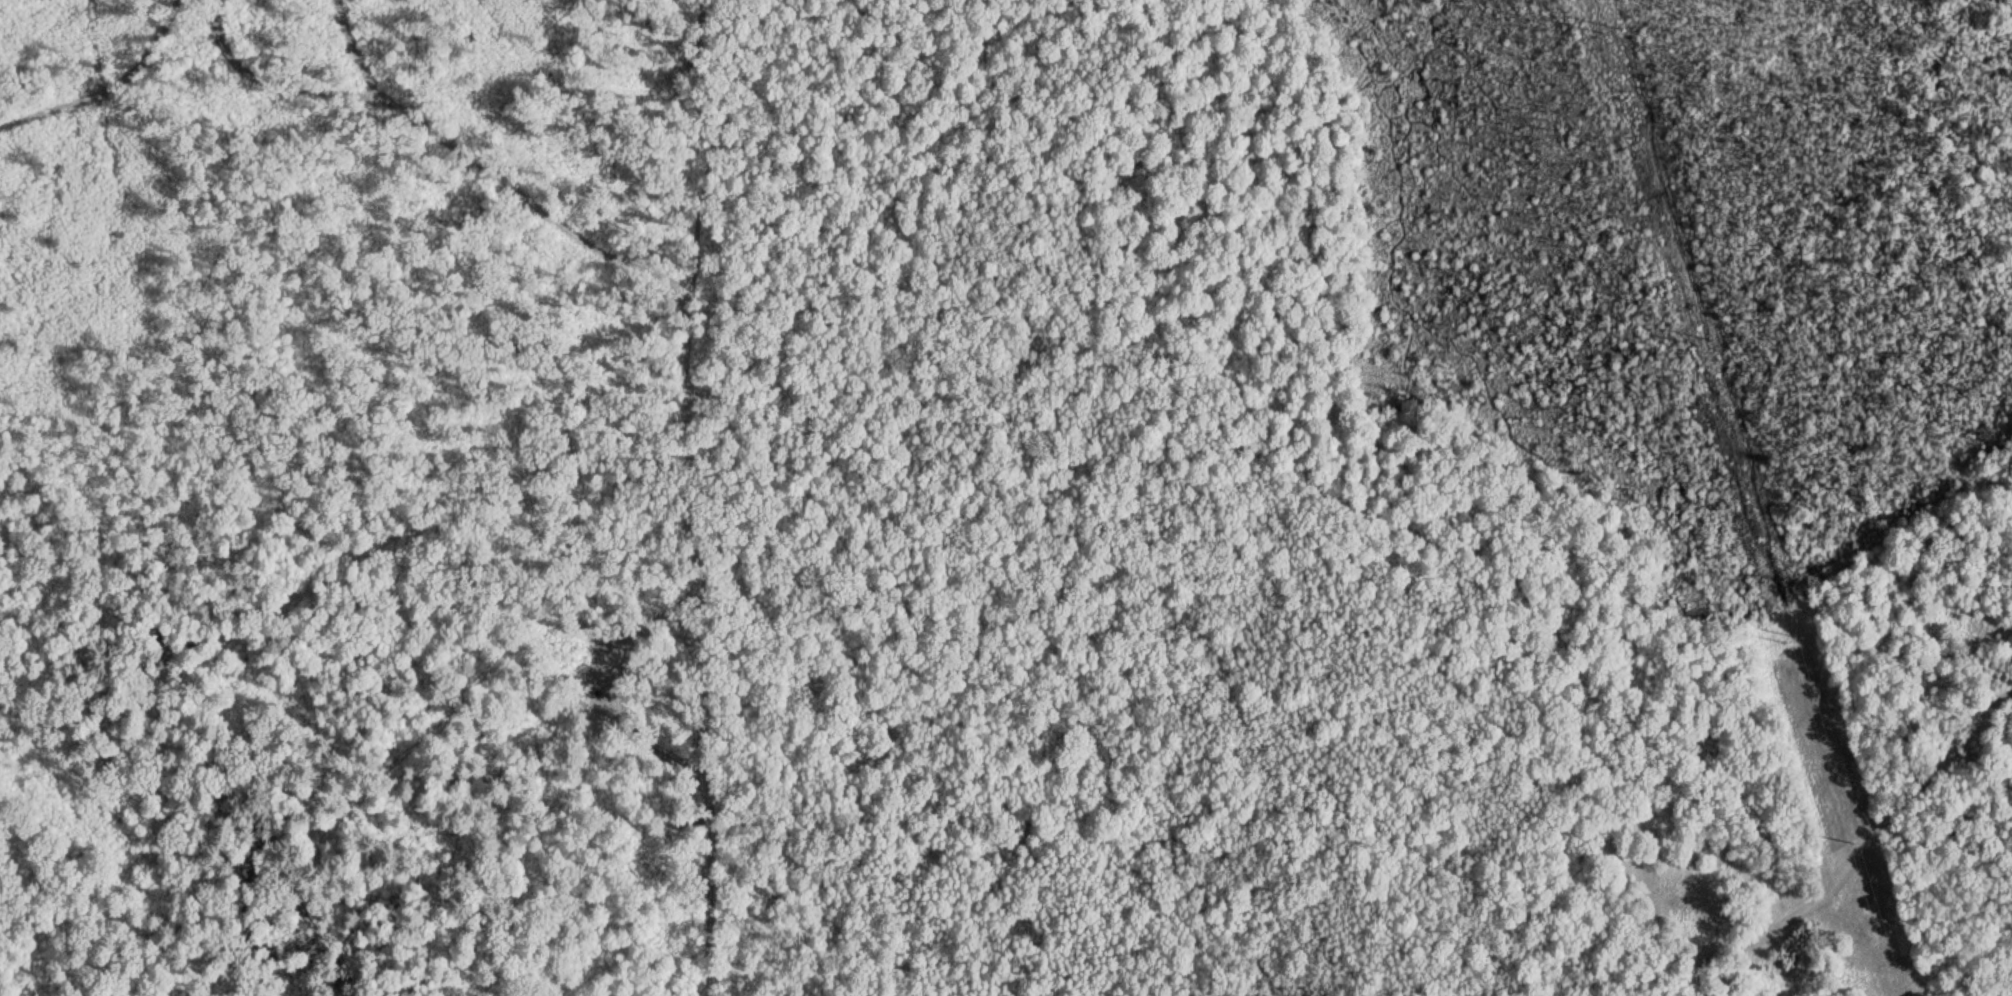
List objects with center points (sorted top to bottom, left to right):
road: (106, 86)
road: (763, 498)

